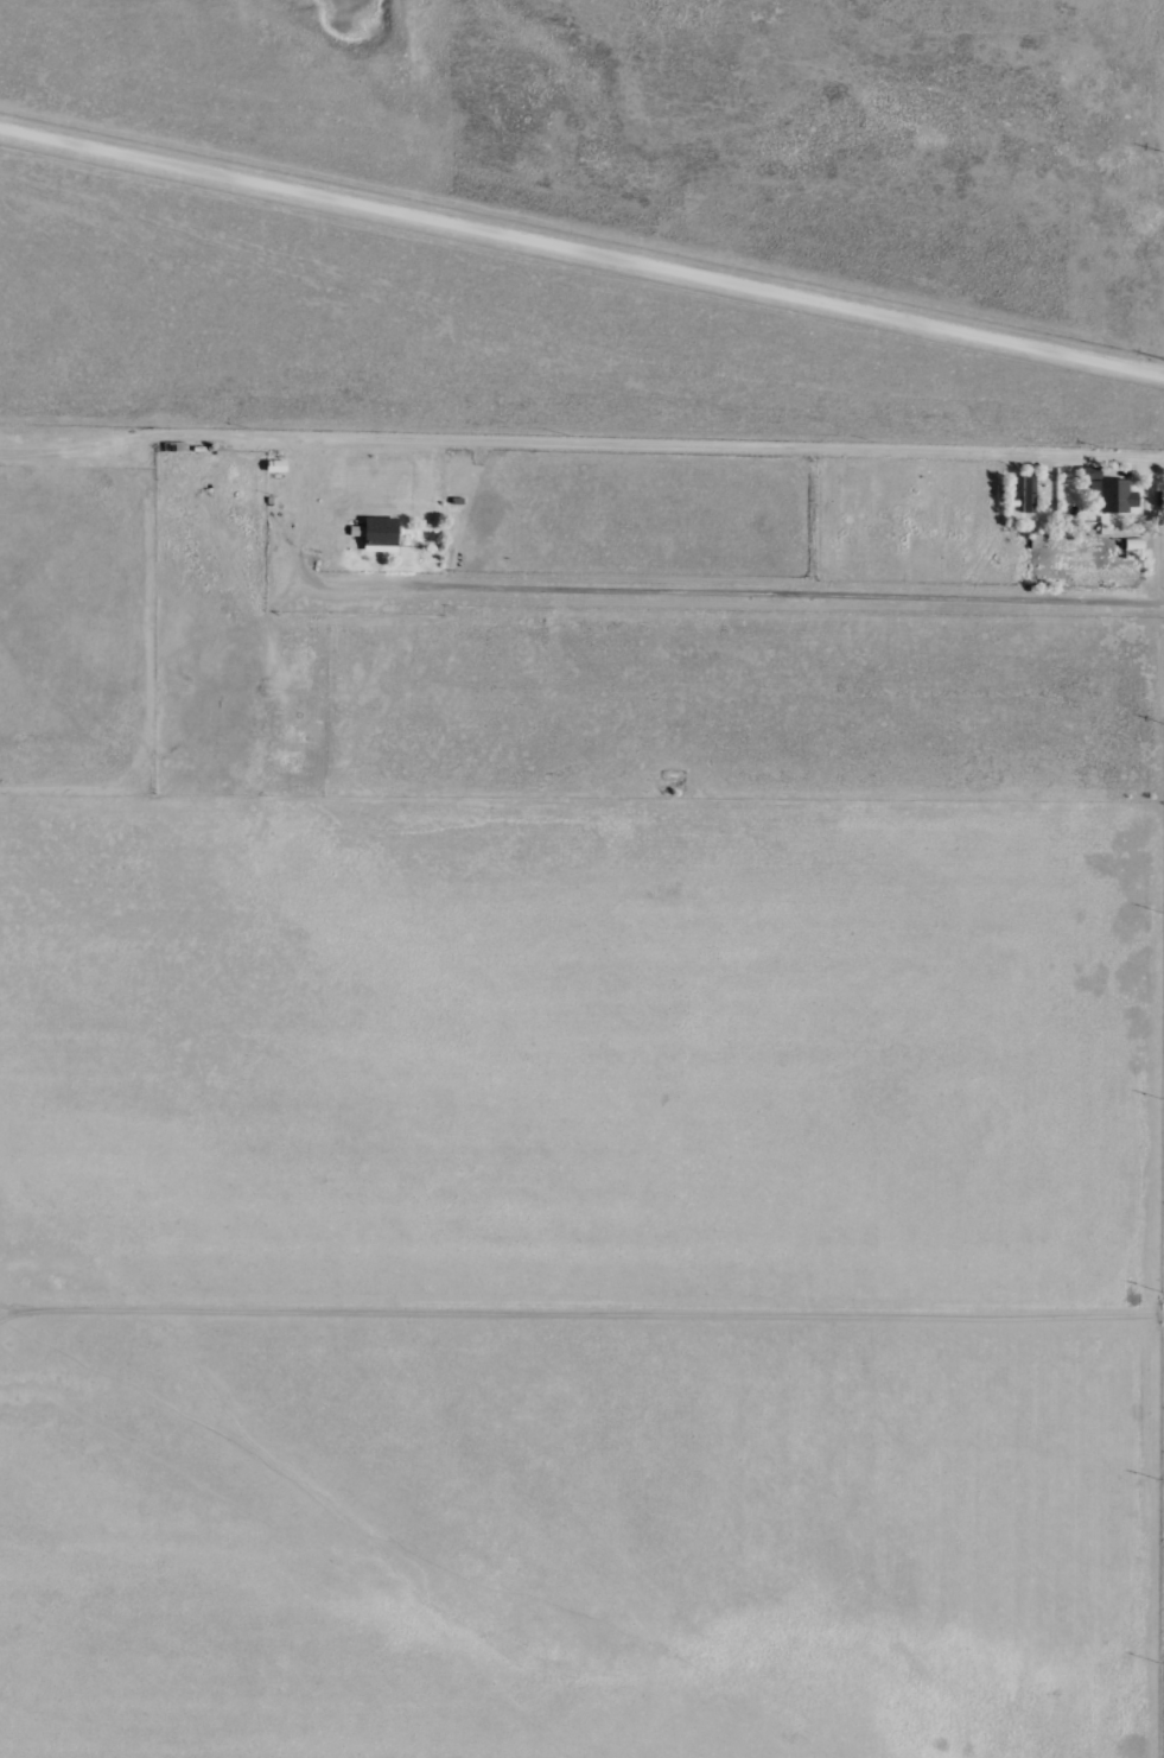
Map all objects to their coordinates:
road: (580, 259)
building: (1086, 472)
building: (1025, 494)
building: (1109, 495)
building: (376, 534)

